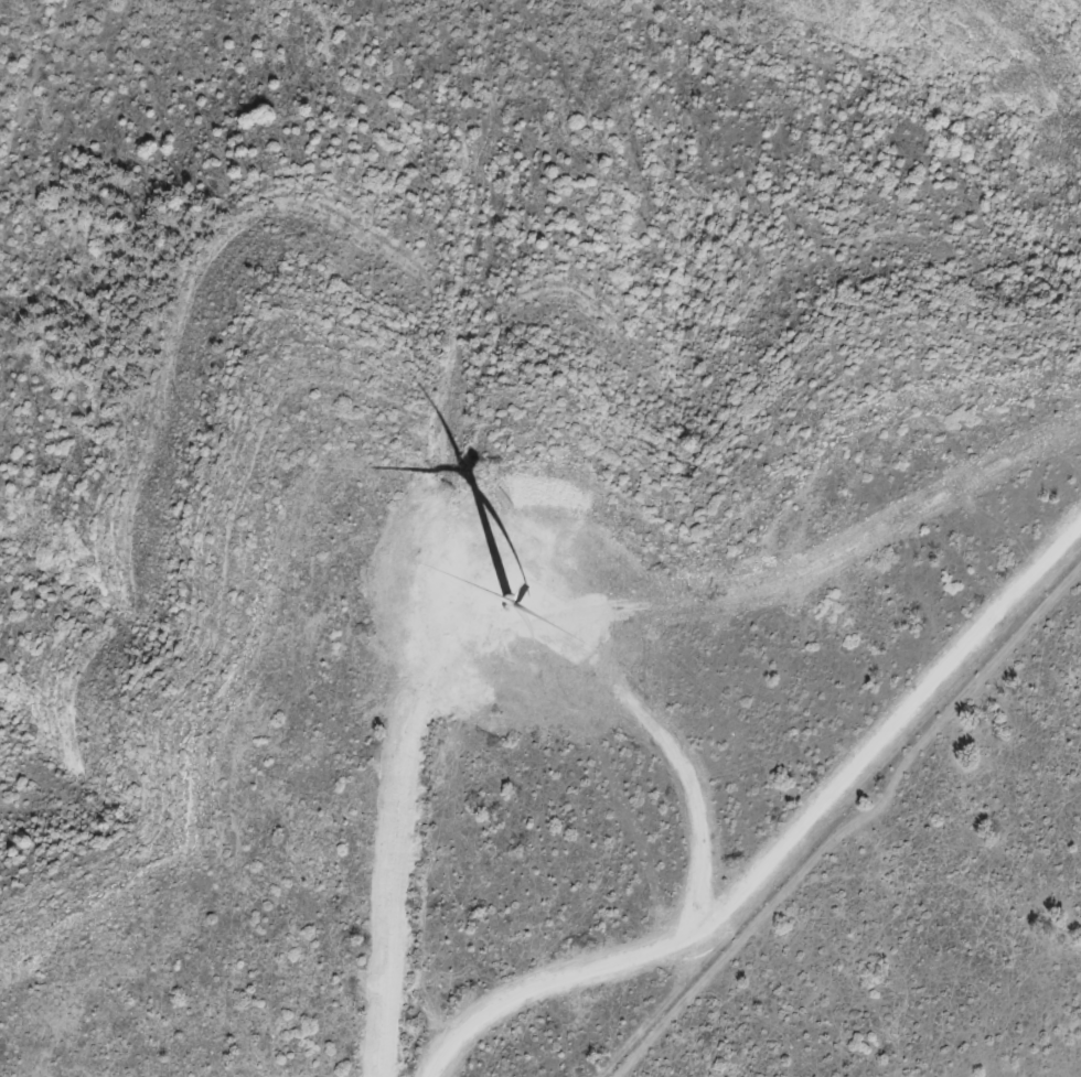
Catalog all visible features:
wind turbine: (504, 584)

